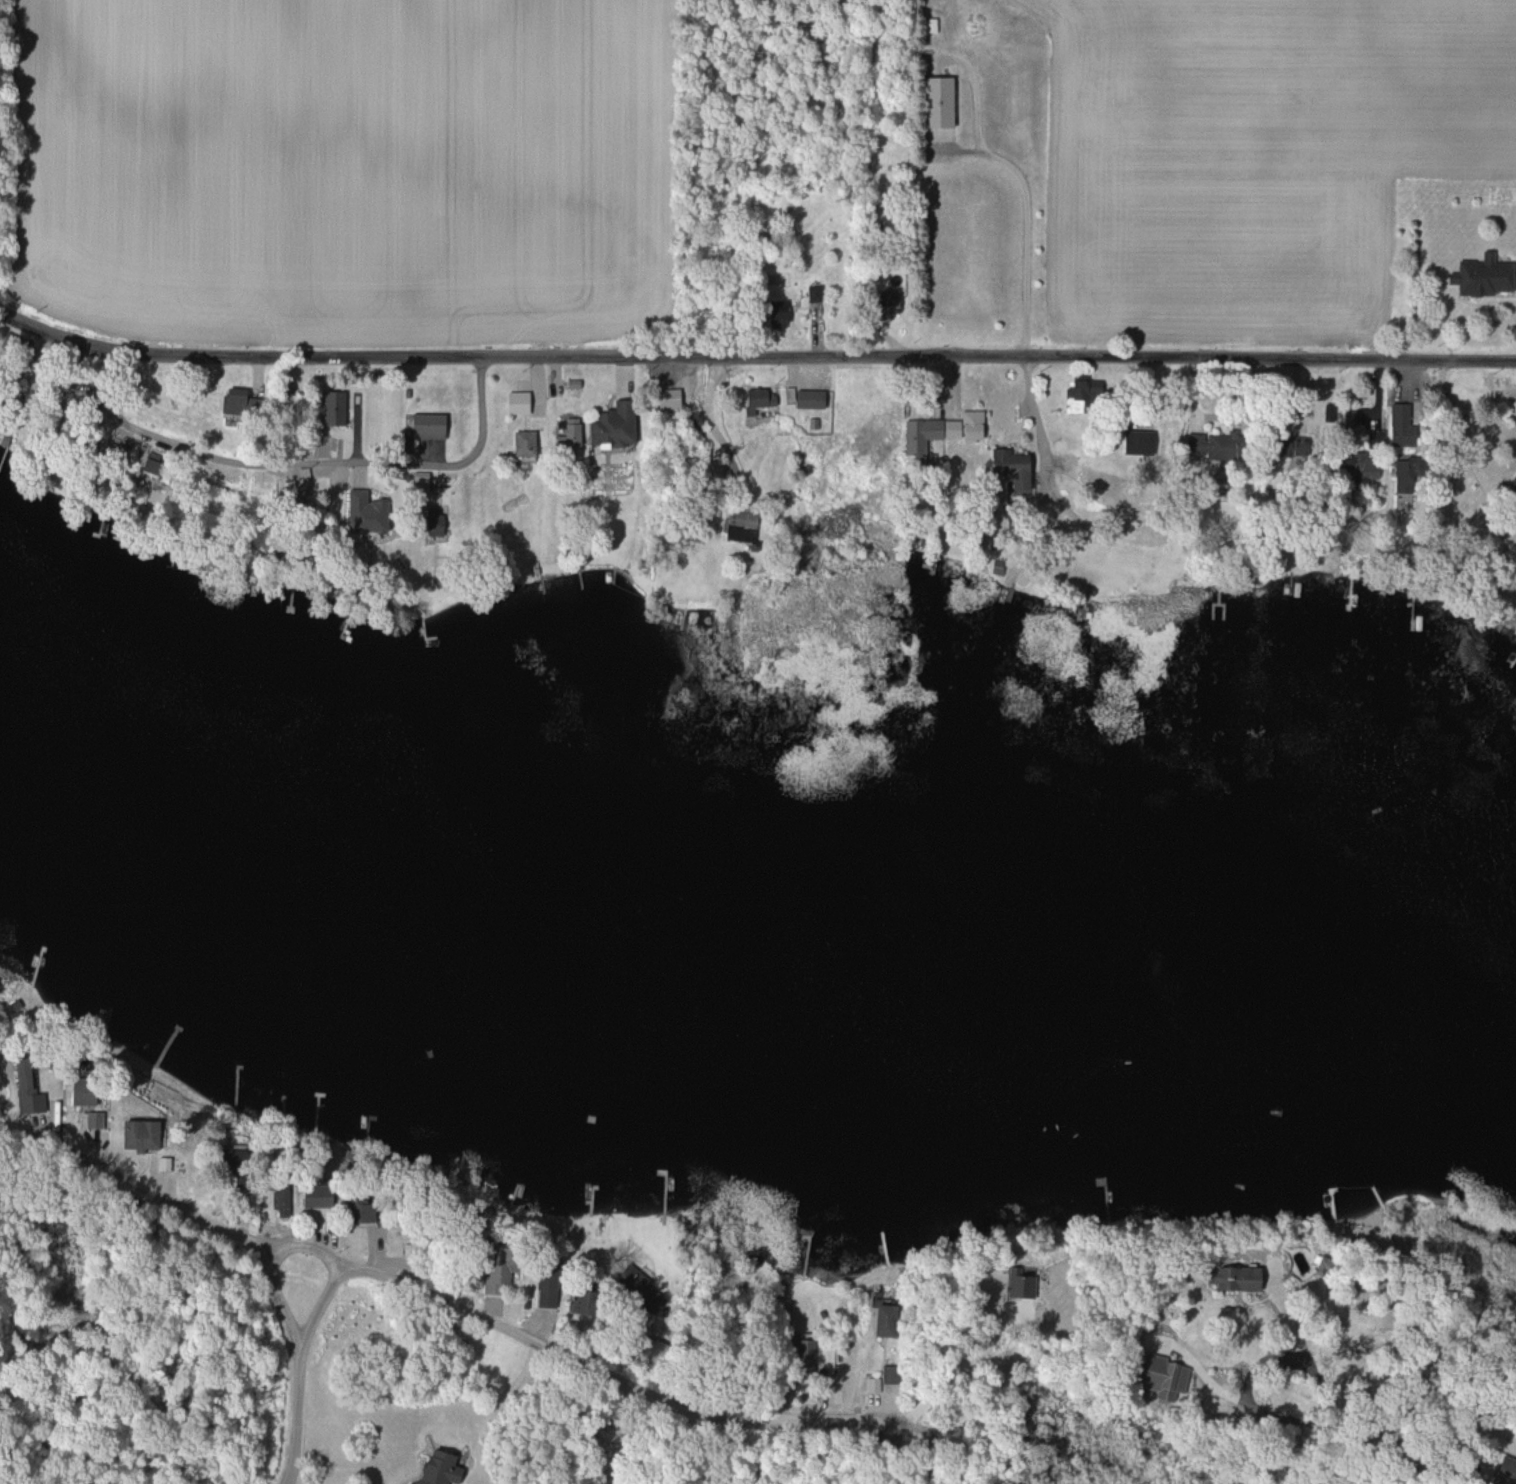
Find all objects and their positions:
building: (932, 25)
building: (944, 101)
road: (1026, 224)
building: (1478, 276)
building: (784, 316)
road: (754, 357)
building: (241, 395)
building: (815, 398)
building: (522, 401)
building: (338, 406)
building: (622, 423)
building: (432, 425)
building: (1397, 425)
building: (951, 428)
building: (574, 432)
building: (532, 442)
building: (1130, 442)
building: (1200, 445)
road: (297, 465)
building: (1359, 465)
building: (1512, 508)
building: (376, 511)
building: (742, 526)
building: (29, 1088)
building: (99, 1119)
building: (147, 1134)
building: (167, 1164)
building: (325, 1196)
building: (287, 1202)
road: (171, 1204)
road: (304, 1247)
building: (503, 1272)
building: (1227, 1278)
building: (551, 1288)
building: (595, 1302)
building: (891, 1321)
road: (593, 1371)
building: (890, 1374)
road: (1332, 1409)
road: (298, 1413)

